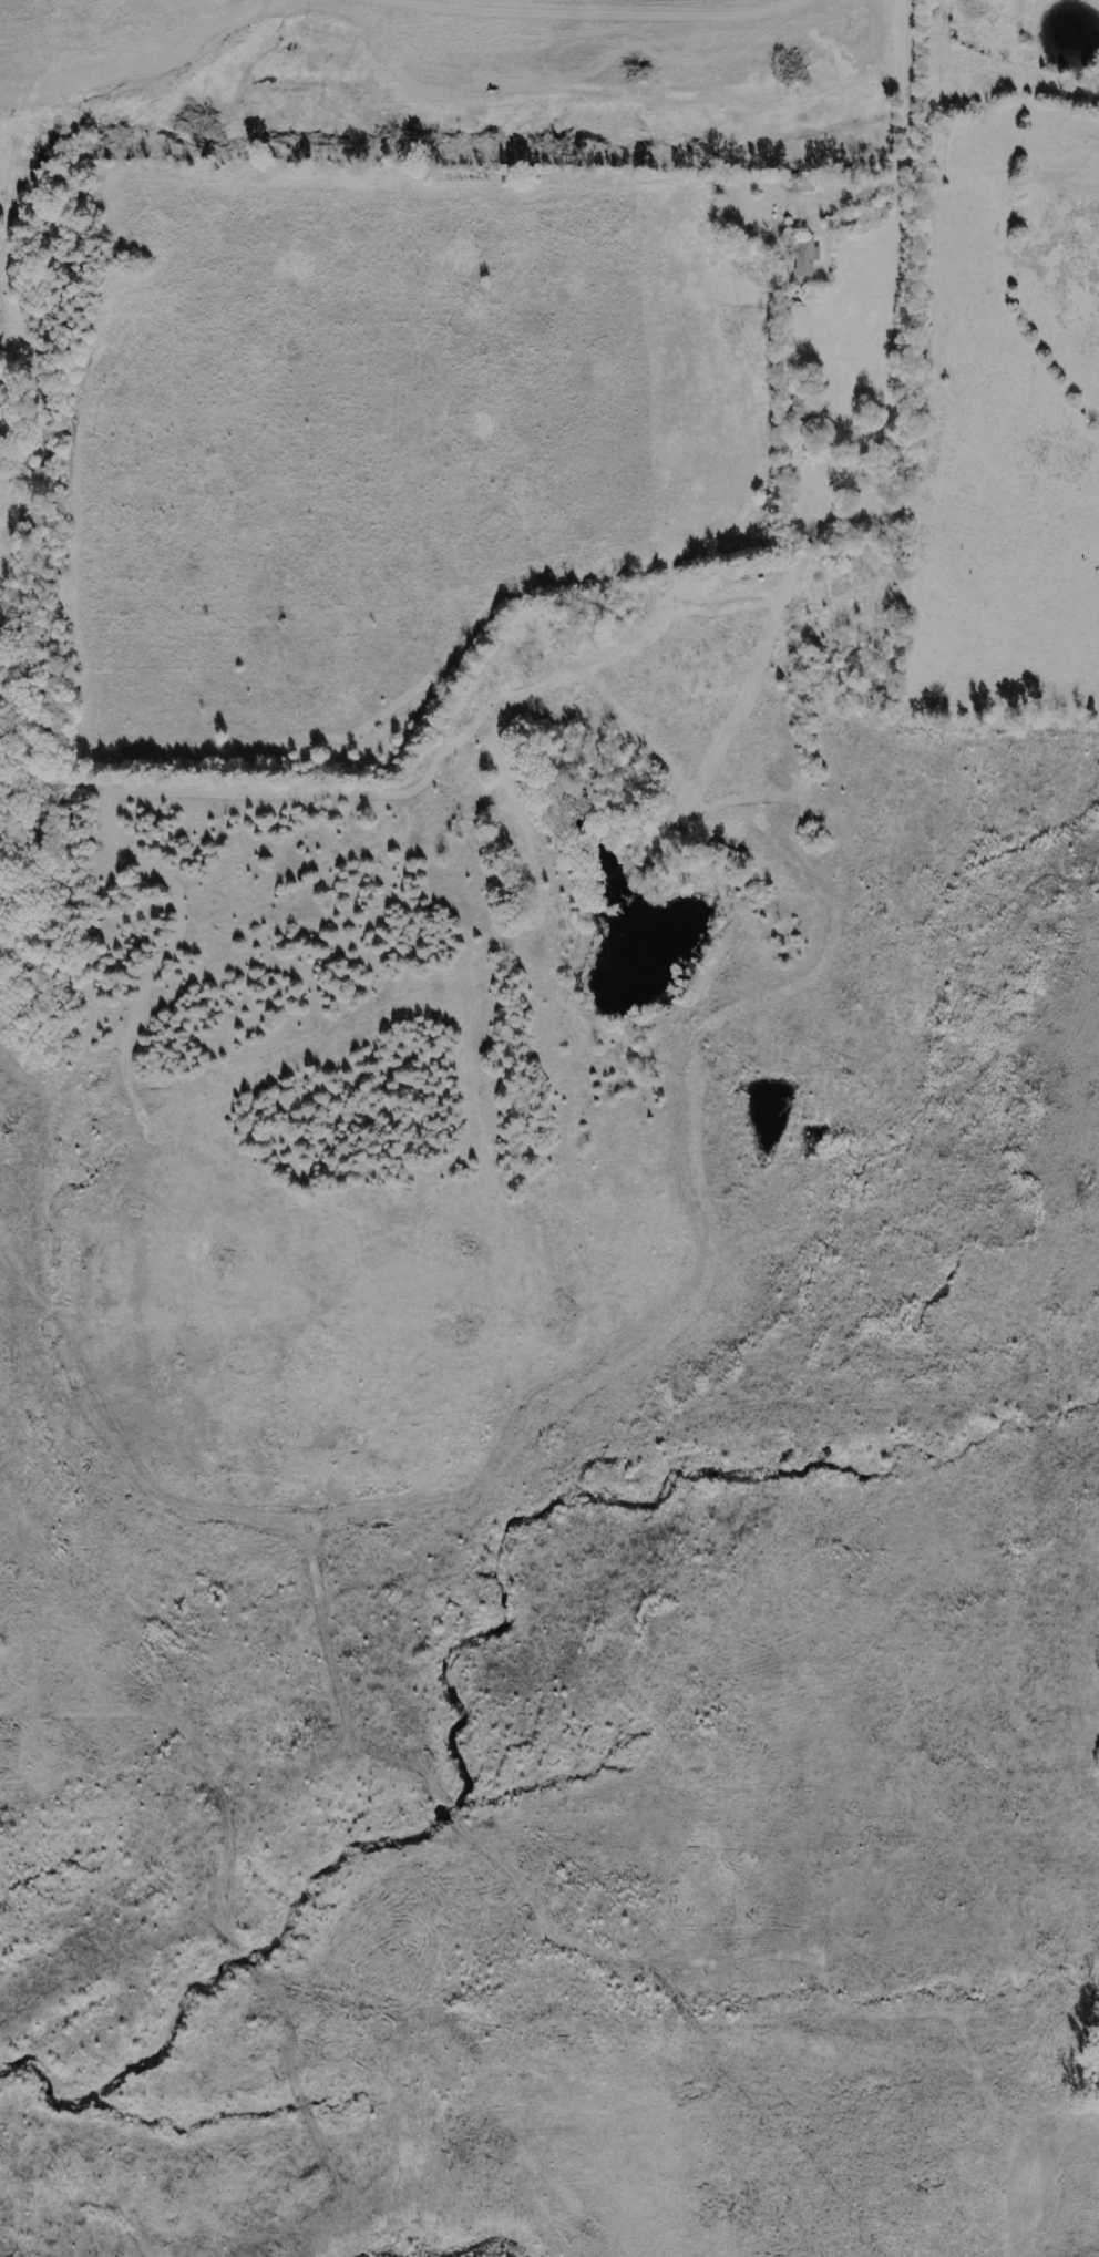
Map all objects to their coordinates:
road: (917, 55)
building: (808, 258)

